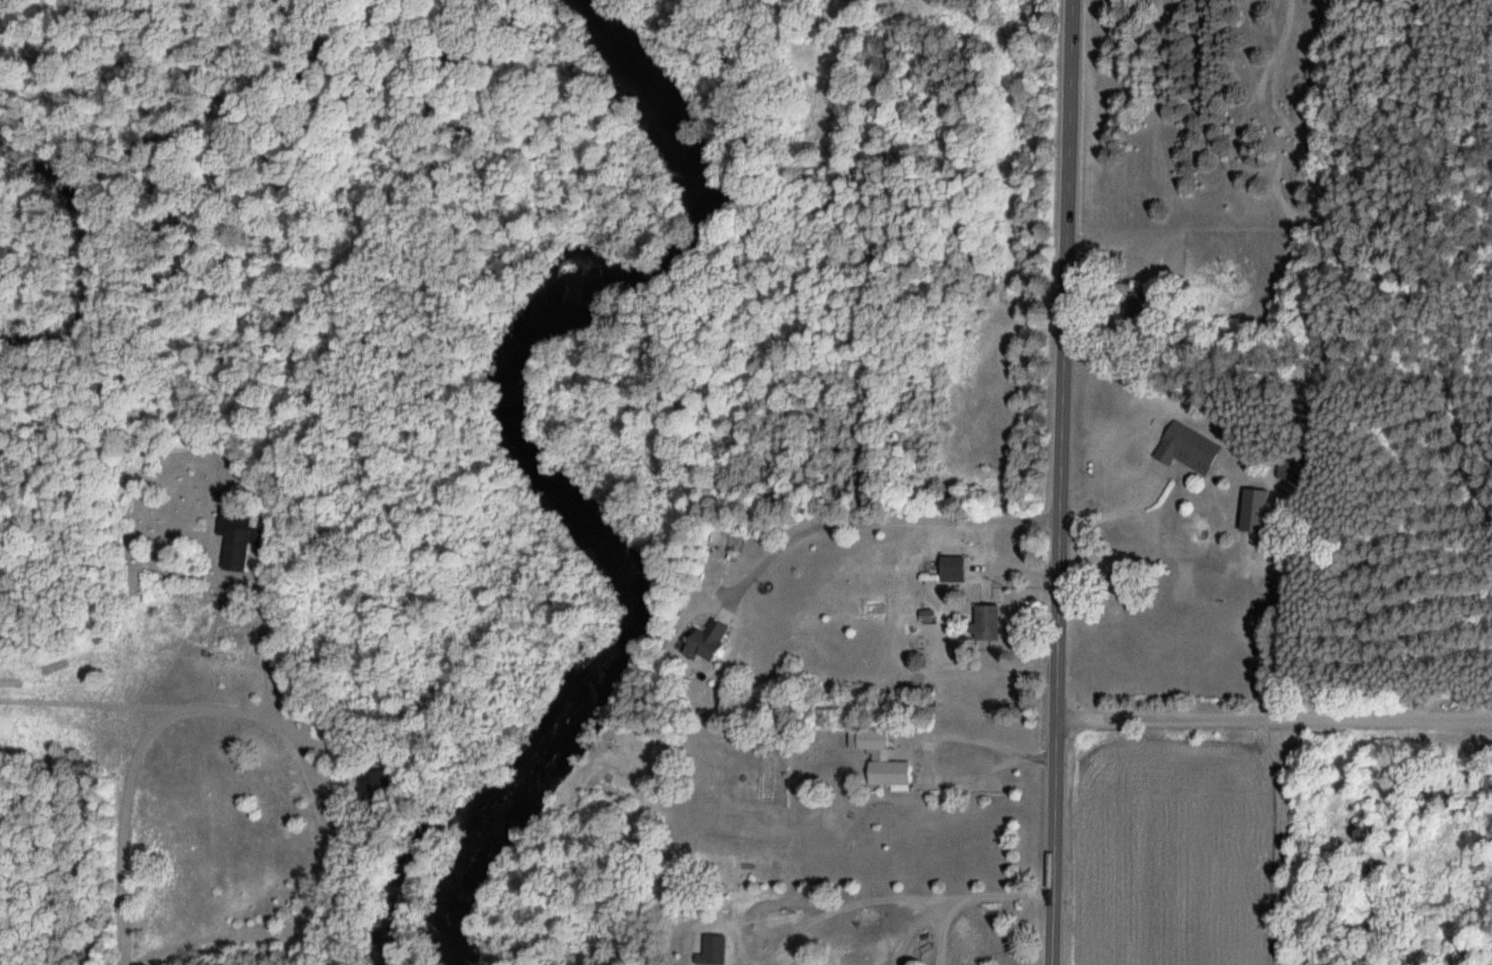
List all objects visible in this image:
building: (1186, 448)
river: (530, 452)
road: (1058, 482)
building: (1254, 510)
road: (1118, 511)
road: (871, 519)
building: (237, 549)
building: (987, 623)
road: (264, 630)
building: (707, 644)
building: (929, 645)
road: (1272, 718)
road: (295, 733)
road: (927, 745)
building: (881, 758)
building: (372, 785)
road: (969, 895)
road: (124, 962)

